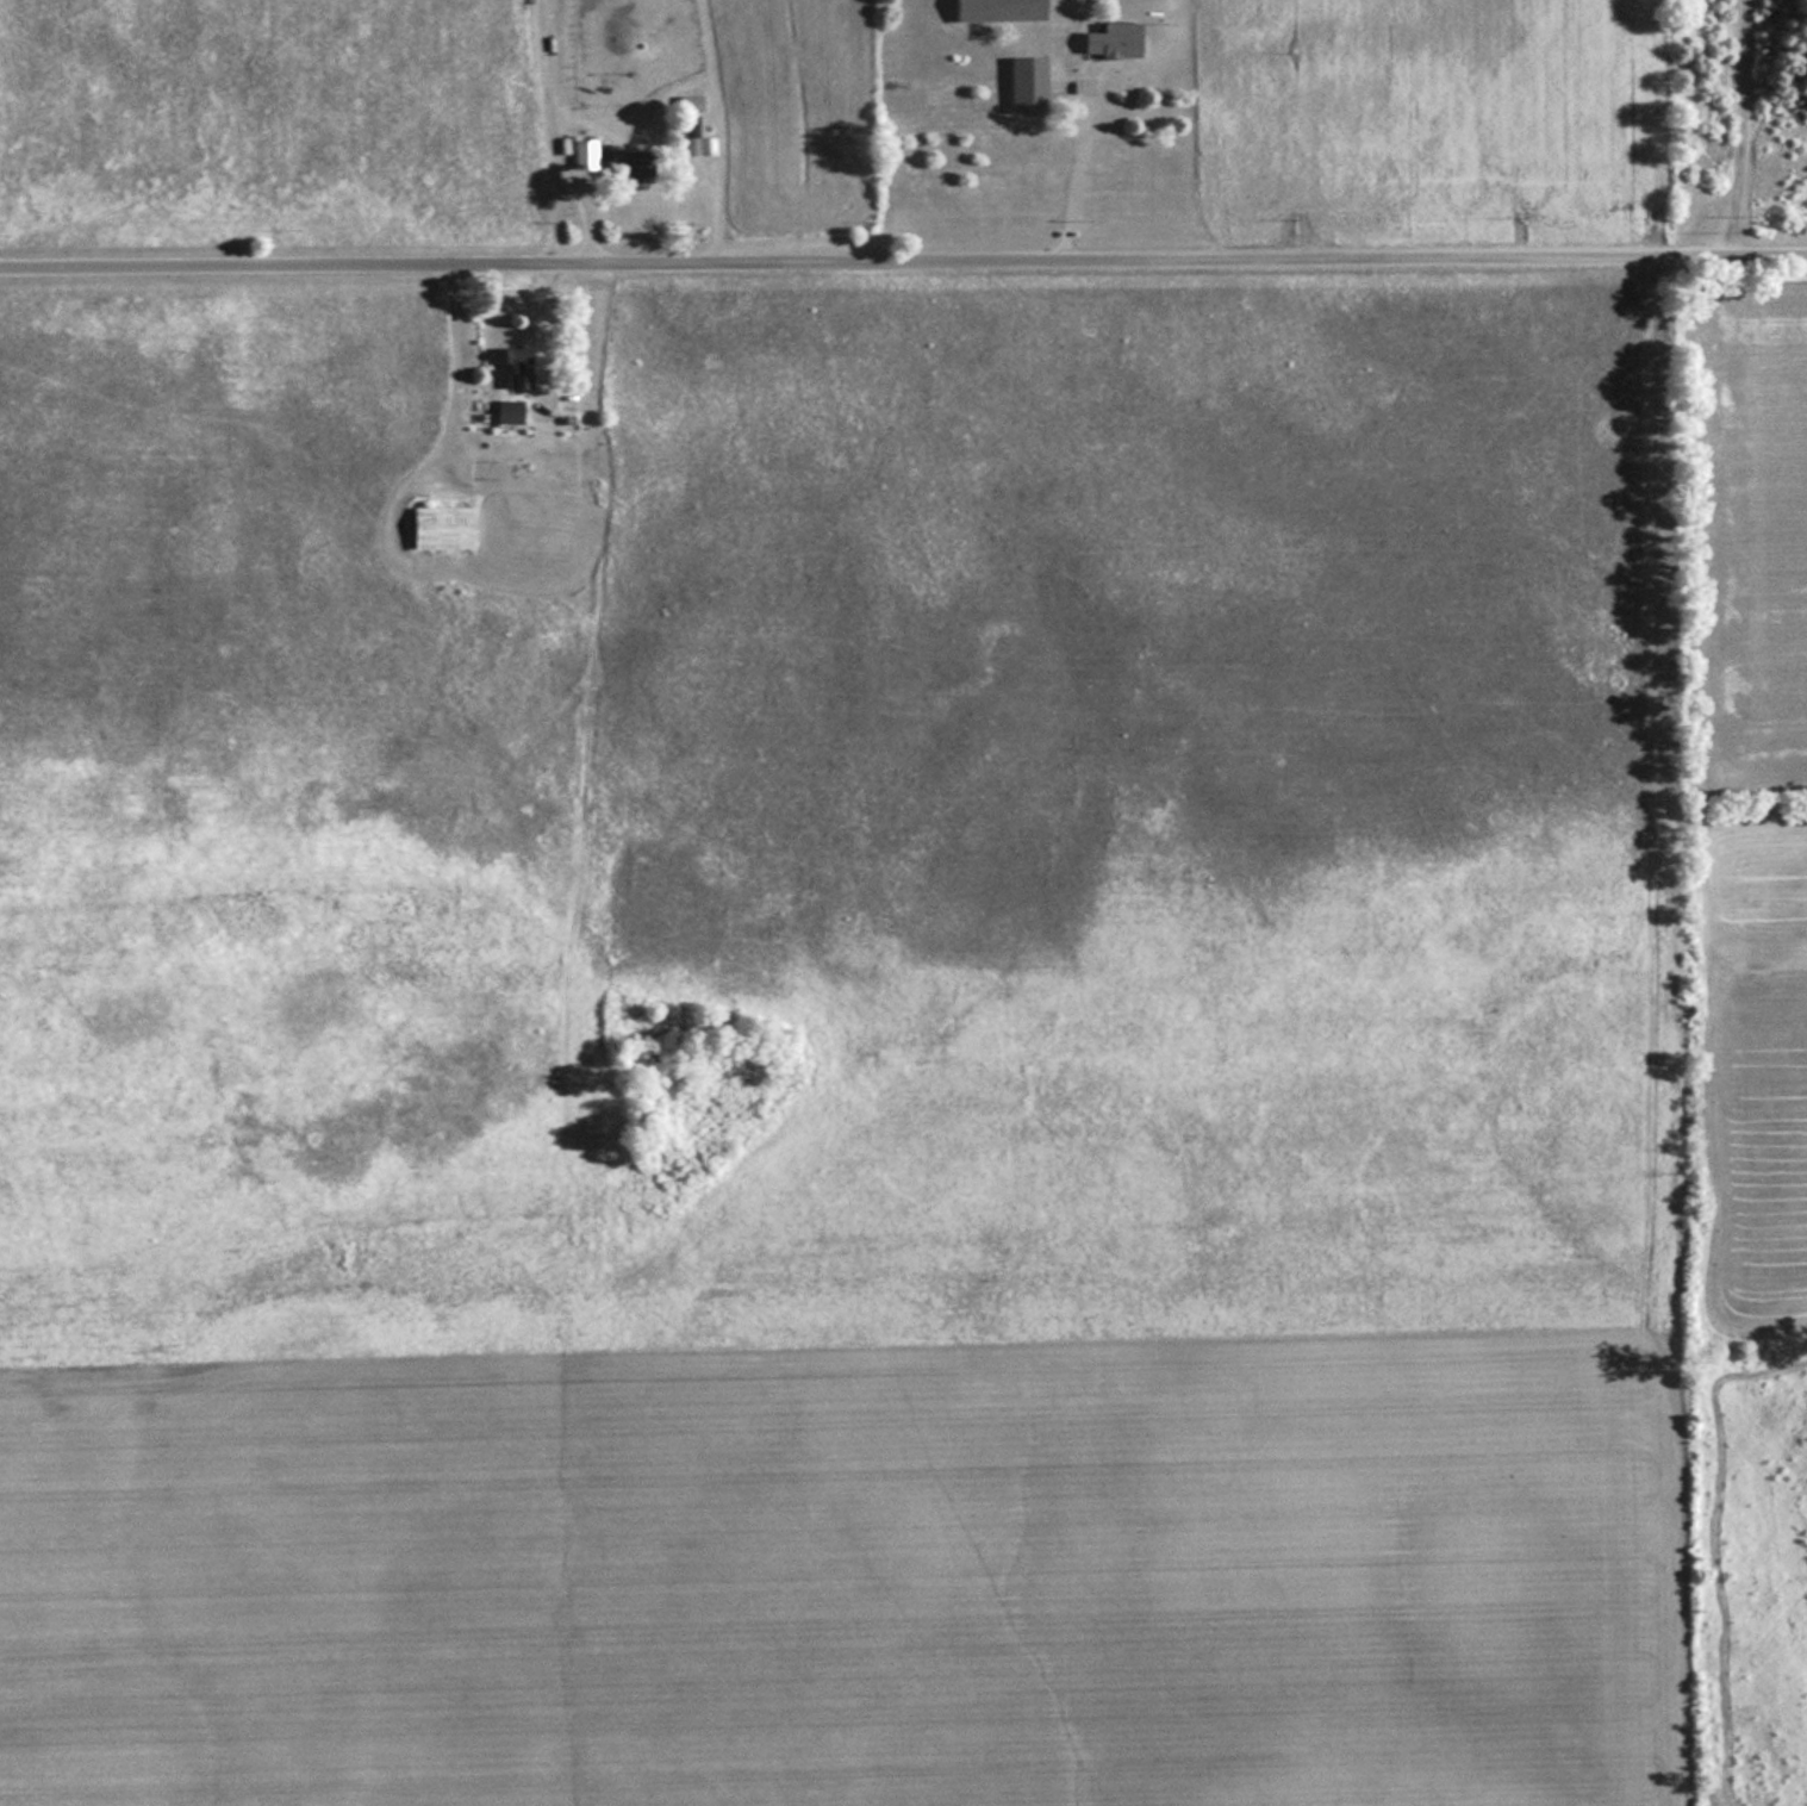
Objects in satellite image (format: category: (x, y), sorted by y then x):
building: (992, 10)
building: (1108, 42)
building: (1022, 86)
building: (687, 135)
building: (581, 154)
building: (624, 160)
road: (903, 263)
building: (511, 365)
building: (504, 409)
building: (437, 527)

